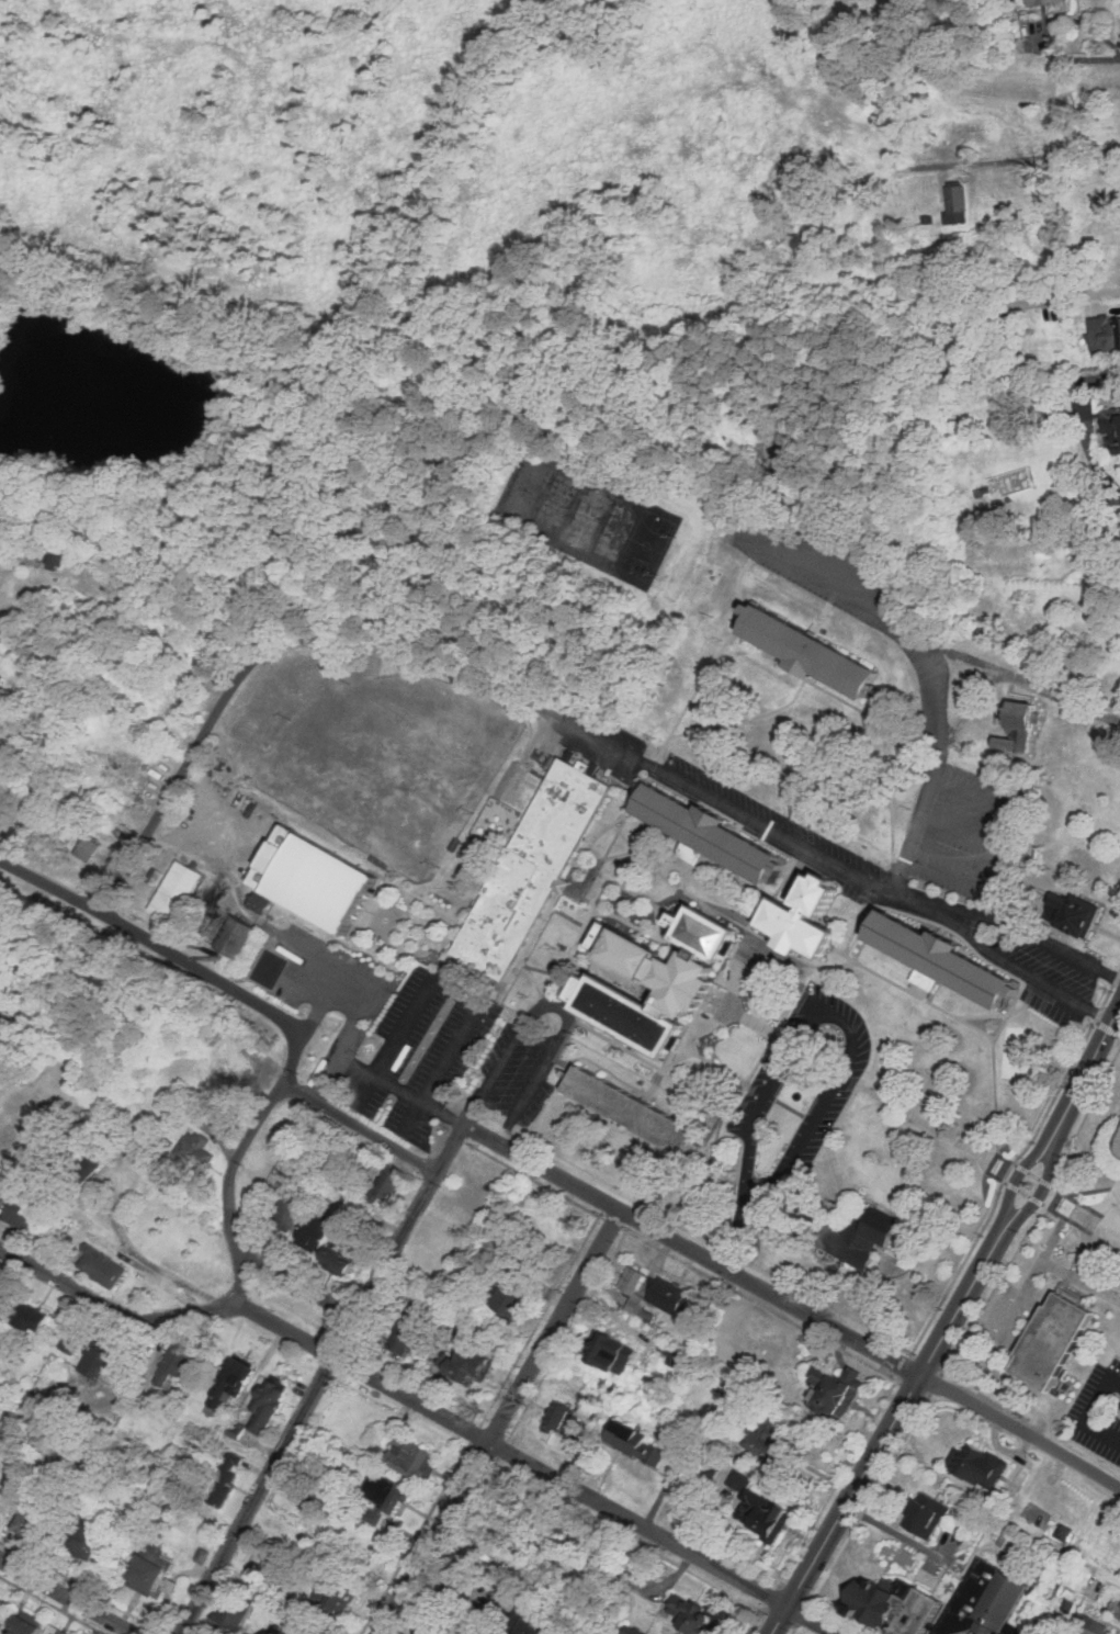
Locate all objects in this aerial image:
building: (1044, 3)
road: (1073, 57)
road: (1020, 158)
building: (955, 205)
building: (1066, 282)
road: (1090, 295)
building: (1105, 334)
building: (1101, 419)
road: (1102, 471)
park: (567, 509)
park: (645, 545)
building: (59, 550)
road: (850, 583)
building: (97, 599)
building: (808, 630)
building: (806, 654)
building: (173, 666)
building: (0, 676)
road: (1030, 679)
building: (180, 689)
road: (939, 714)
building: (166, 722)
building: (1017, 728)
road: (631, 756)
park: (388, 763)
road: (181, 770)
road: (983, 797)
road: (957, 826)
building: (705, 834)
building: (84, 847)
building: (535, 857)
building: (316, 868)
building: (173, 889)
building: (258, 903)
building: (1072, 912)
building: (803, 913)
building: (234, 935)
road: (1045, 943)
road: (174, 953)
building: (940, 960)
road: (333, 968)
road: (1034, 976)
building: (650, 978)
road: (456, 992)
building: (178, 995)
road: (324, 1000)
road: (557, 1004)
road: (836, 1016)
road: (353, 1028)
park: (1017, 1051)
road: (1095, 1053)
building: (237, 1068)
road: (378, 1078)
building: (629, 1109)
road: (359, 1127)
building: (1119, 1127)
building: (1117, 1145)
building: (194, 1149)
building: (84, 1163)
road: (1025, 1164)
road: (238, 1167)
road: (1045, 1176)
building: (386, 1182)
building: (286, 1209)
building: (20, 1214)
building: (314, 1227)
road: (737, 1235)
road: (667, 1236)
building: (860, 1236)
building: (340, 1252)
building: (101, 1265)
building: (631, 1278)
building: (669, 1295)
building: (510, 1299)
road: (197, 1311)
building: (29, 1316)
building: (1059, 1326)
building: (409, 1328)
building: (465, 1336)
building: (70, 1341)
building: (671, 1351)
building: (610, 1352)
building: (101, 1356)
building: (177, 1362)
building: (470, 1363)
building: (230, 1378)
building: (836, 1391)
building: (264, 1402)
road: (307, 1402)
road: (1089, 1411)
building: (558, 1417)
road: (498, 1421)
road: (1019, 1433)
road: (884, 1434)
building: (769, 1435)
building: (633, 1442)
building: (409, 1456)
building: (980, 1465)
road: (538, 1467)
building: (712, 1470)
building: (222, 1479)
building: (377, 1497)
building: (396, 1499)
building: (79, 1500)
building: (758, 1508)
building: (926, 1514)
building: (31, 1522)
building: (1064, 1531)
building: (1008, 1540)
building: (82, 1541)
building: (203, 1556)
building: (152, 1573)
road: (67, 1597)
building: (332, 1597)
building: (938, 1602)
building: (234, 1608)
building: (1116, 1610)
building: (693, 1613)
building: (521, 1621)
building: (1090, 1625)
building: (23, 1626)
building: (433, 1626)
building: (633, 1630)
building: (286, 1631)
building: (60, 1632)
building: (274, 1632)

